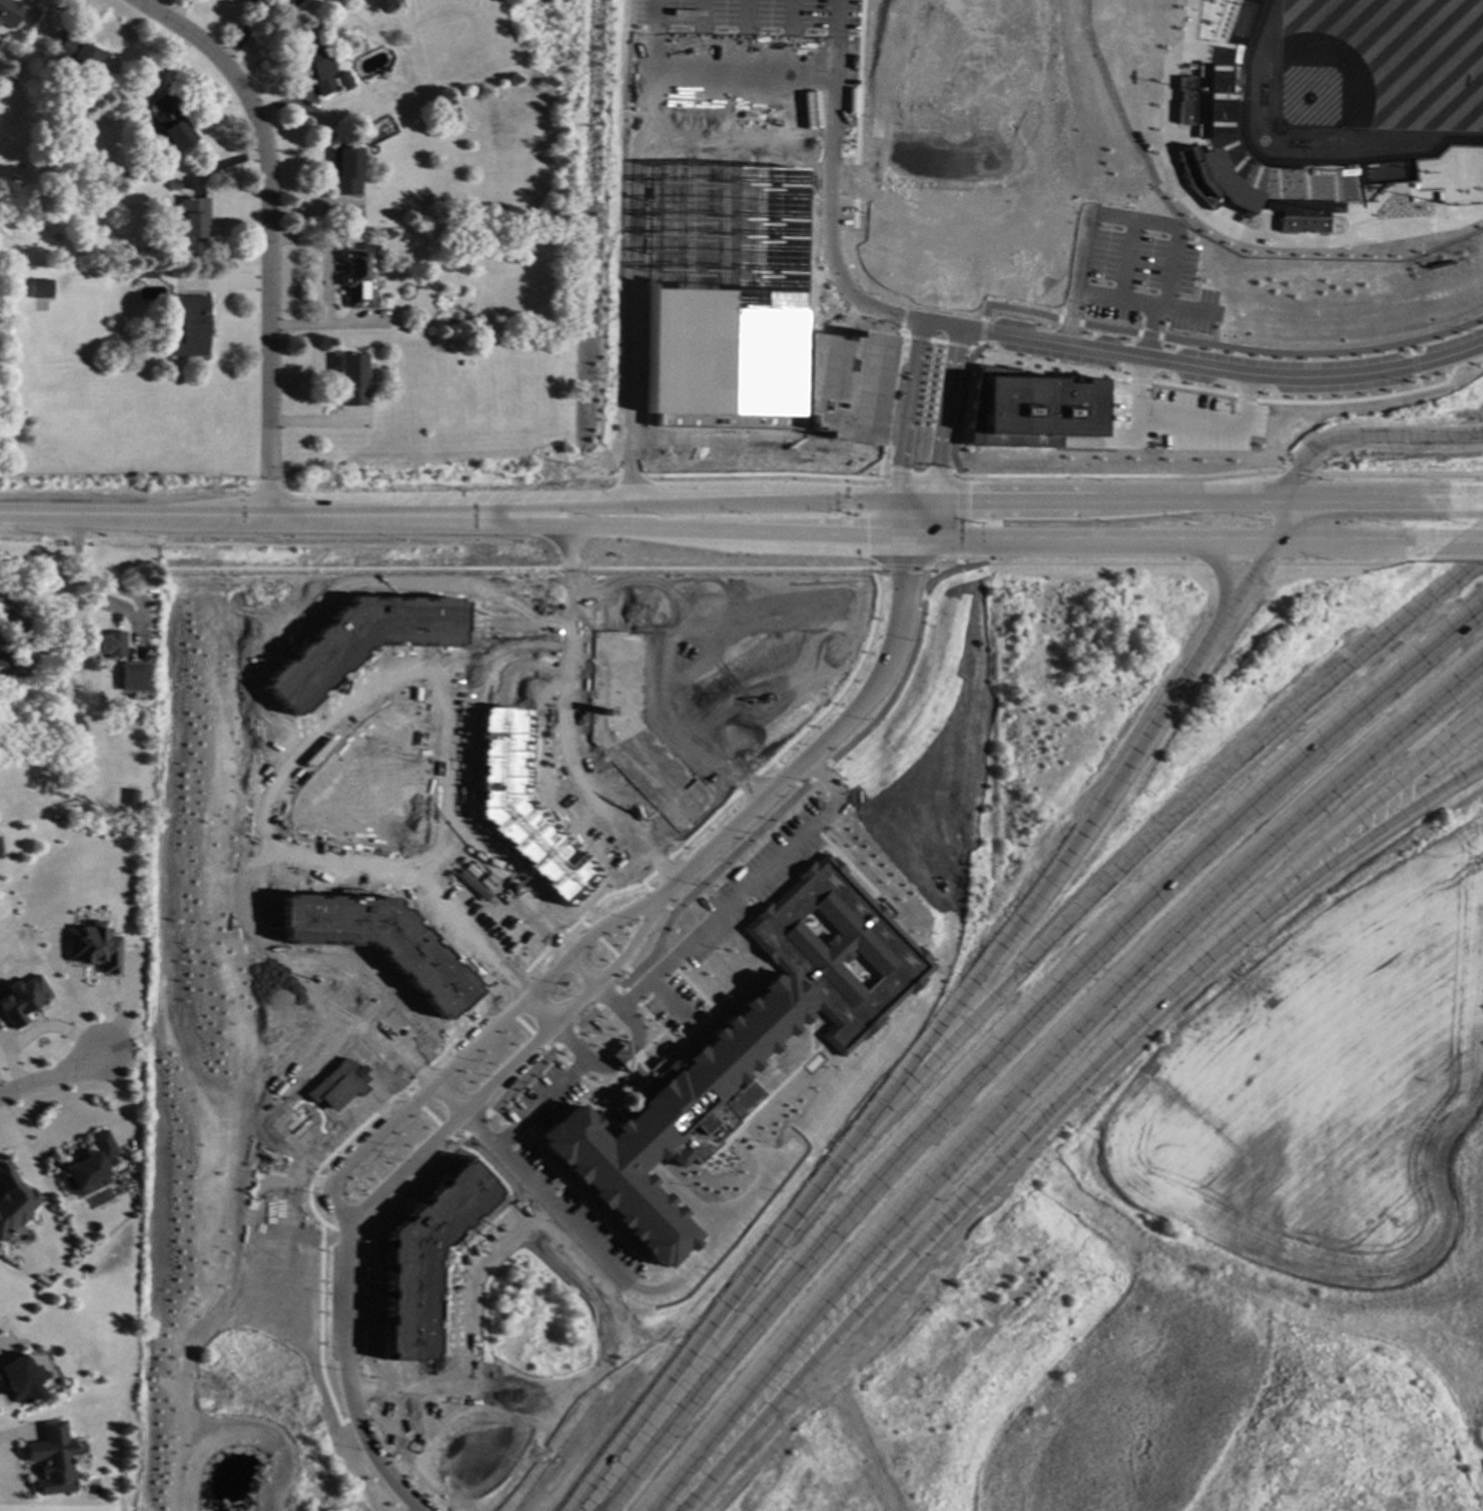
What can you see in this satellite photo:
building: (0, 0)
building: (356, 44)
road: (204, 52)
building: (75, 53)
parking lot: (742, 54)
road: (654, 61)
road: (695, 62)
road: (742, 62)
road: (786, 62)
road: (833, 63)
building: (321, 68)
road: (857, 81)
park: (1359, 81)
building: (1203, 113)
building: (170, 123)
road: (742, 125)
road: (748, 151)
road: (829, 153)
road: (848, 154)
building: (345, 169)
building: (189, 214)
road: (1129, 220)
road: (831, 250)
road: (1124, 261)
road: (849, 263)
building: (149, 274)
building: (358, 274)
parking lot: (1145, 275)
building: (39, 288)
road: (1116, 300)
road: (1014, 309)
road: (631, 312)
building: (743, 315)
building: (457, 316)
road: (267, 317)
road: (902, 317)
road: (1068, 321)
building: (189, 324)
road: (938, 326)
road: (1108, 329)
road: (981, 331)
road: (1147, 333)
road: (1148, 335)
road: (902, 336)
road: (917, 338)
road: (936, 342)
road: (955, 345)
road: (973, 347)
road: (1409, 348)
road: (1322, 353)
road: (1050, 364)
road: (1413, 365)
road: (1220, 370)
building: (352, 379)
road: (1138, 381)
road: (1417, 382)
road: (1192, 388)
road: (1122, 395)
road: (1376, 397)
road: (1245, 398)
road: (1244, 402)
road: (889, 404)
road: (1101, 406)
road: (958, 407)
building: (1027, 409)
road: (906, 411)
road: (944, 414)
parking lot: (1177, 422)
road: (1150, 427)
road: (1342, 437)
road: (1098, 443)
traffic signals: (898, 471)
road: (763, 474)
road: (1292, 474)
road: (630, 476)
road: (1119, 476)
road: (1394, 476)
road: (596, 477)
road: (920, 477)
road: (914, 500)
traffic signals: (968, 500)
road: (1207, 500)
road: (628, 507)
road: (181, 515)
road: (895, 517)
road: (929, 517)
road: (959, 517)
road: (627, 528)
traffic signals: (865, 533)
road: (910, 534)
road: (1096, 541)
road: (1356, 546)
road: (1464, 546)
road: (900, 551)
road: (916, 551)
road: (1455, 559)
road: (1080, 564)
road: (1234, 564)
road: (1345, 564)
road: (571, 568)
road: (731, 568)
road: (901, 568)
road: (362, 569)
road: (930, 572)
road: (1220, 572)
traffic signals: (905, 574)
road: (388, 582)
road: (433, 583)
road: (544, 593)
road: (613, 613)
road: (514, 624)
road: (543, 625)
building: (361, 641)
building: (107, 643)
road: (543, 645)
road: (567, 650)
road: (407, 653)
building: (1, 657)
road: (686, 659)
road: (517, 665)
road: (543, 665)
road: (905, 666)
building: (132, 675)
road: (842, 686)
parking lot: (673, 695)
parking lot: (356, 715)
road: (305, 723)
road: (565, 725)
road: (321, 727)
building: (634, 732)
road: (314, 733)
parking lot: (434, 736)
parking lot: (553, 738)
road: (668, 741)
road: (261, 743)
road: (810, 750)
road: (266, 754)
parking lot: (699, 760)
road: (589, 762)
road: (774, 764)
parking lot: (298, 769)
road: (816, 772)
road: (785, 776)
road: (357, 778)
road: (447, 779)
road: (461, 780)
road: (745, 783)
road: (795, 787)
road: (558, 792)
road: (373, 795)
building: (130, 797)
parking lot: (432, 805)
building: (522, 807)
road: (1374, 809)
road: (465, 813)
parking lot: (599, 823)
road: (701, 825)
road: (1169, 829)
road: (1375, 833)
parking lot: (320, 851)
parking lot: (379, 852)
road: (433, 856)
road: (433, 857)
road: (659, 865)
road: (847, 867)
road: (356, 868)
road: (704, 879)
parking lot: (752, 880)
road: (355, 881)
road: (645, 886)
road: (747, 887)
road: (259, 893)
road: (605, 895)
road: (407, 897)
road: (656, 898)
road: (746, 904)
road: (667, 910)
road: (486, 913)
road: (582, 922)
road: (591, 933)
road: (556, 940)
building: (379, 942)
road: (605, 947)
building: (93, 948)
road: (618, 962)
road: (532, 963)
road: (264, 965)
road: (302, 971)
road: (628, 972)
road: (593, 982)
road: (511, 983)
road: (622, 987)
road: (630, 997)
road: (606, 999)
building: (21, 1000)
road: (390, 1001)
road: (499, 1001)
road: (668, 1002)
road: (653, 1004)
parking lot: (672, 1005)
road: (414, 1009)
road: (509, 1012)
road: (665, 1016)
road: (585, 1019)
road: (696, 1025)
road: (466, 1026)
road: (523, 1026)
road: (634, 1026)
road: (691, 1026)
road: (556, 1027)
road: (808, 1030)
road: (935, 1037)
road: (1008, 1037)
road: (565, 1038)
parking lot: (391, 1039)
road: (537, 1040)
road: (649, 1043)
road: (258, 1048)
road: (470, 1048)
road: (547, 1050)
building: (733, 1053)
road: (623, 1056)
road: (559, 1057)
road: (628, 1062)
road: (509, 1067)
road: (598, 1067)
road: (384, 1068)
road: (573, 1070)
road: (1054, 1070)
road: (421, 1073)
road: (55, 1074)
road: (521, 1080)
crop: (1322, 1084)
building: (338, 1085)
road: (602, 1085)
road: (407, 1092)
parking lot: (541, 1099)
road: (762, 1099)
road: (415, 1101)
road: (539, 1103)
road: (429, 1116)
road: (498, 1116)
road: (475, 1125)
road: (510, 1130)
road: (443, 1131)
road: (452, 1140)
road: (533, 1144)
road: (337, 1150)
road: (752, 1151)
building: (90, 1163)
road: (996, 1167)
parking lot: (534, 1168)
road: (492, 1174)
road: (294, 1181)
building: (13, 1201)
road: (685, 1201)
road: (587, 1211)
road: (529, 1220)
road: (347, 1231)
road: (363, 1231)
parking lot: (597, 1233)
road: (369, 1236)
road: (581, 1237)
parking lot: (489, 1238)
parking lot: (579, 1257)
building: (423, 1259)
parking lot: (456, 1319)
road: (318, 1327)
road: (469, 1334)
road: (595, 1367)
road: (405, 1373)
building: (19, 1378)
road: (347, 1379)
road: (371, 1388)
road: (482, 1403)
road: (355, 1415)
building: (50, 1458)
road: (404, 1462)

